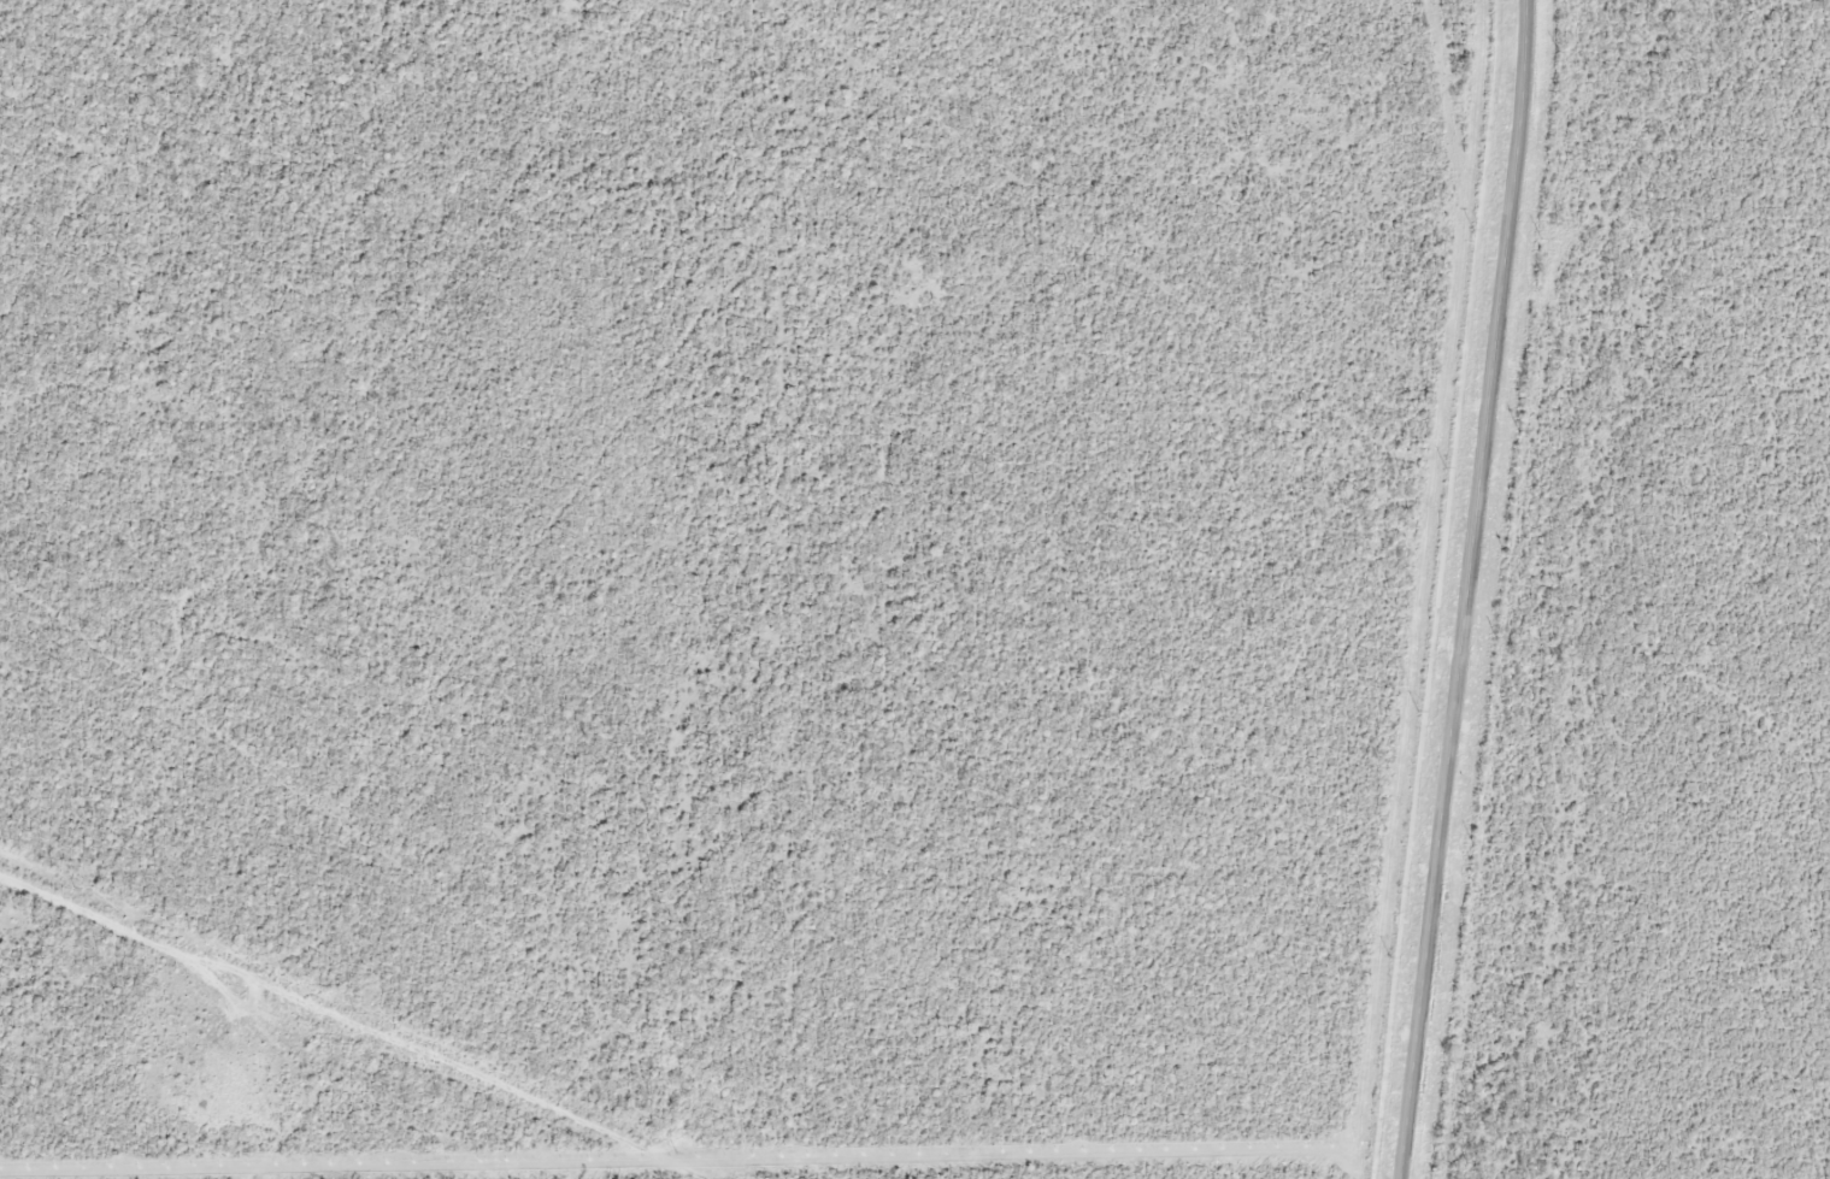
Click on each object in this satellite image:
road: (1467, 590)

